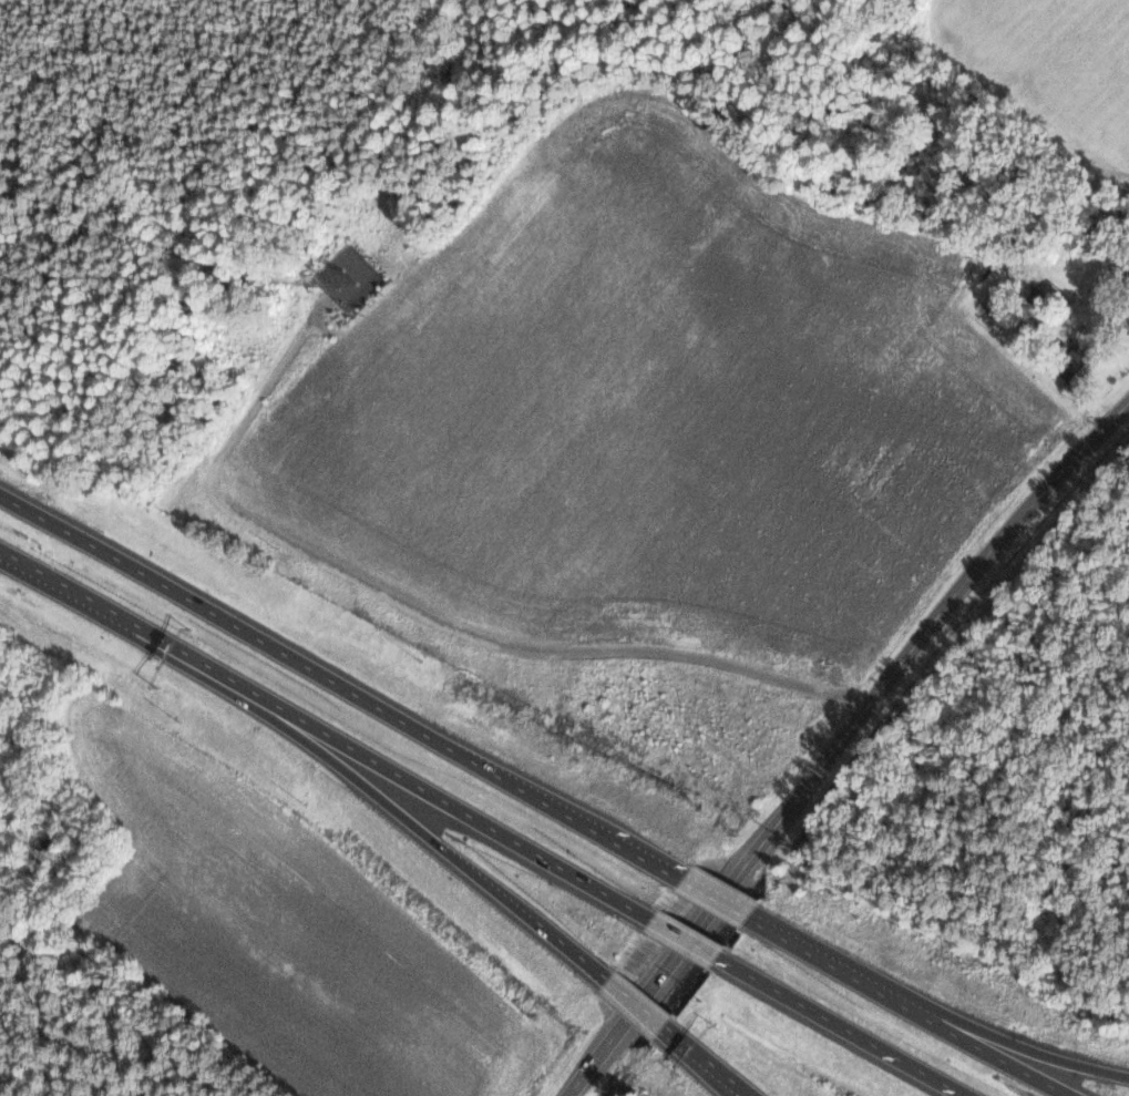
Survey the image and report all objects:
building: (1126, 310)
building: (1075, 359)
road: (109, 610)
road: (292, 657)
road: (839, 740)
road: (438, 795)
road: (415, 824)
road: (637, 851)
road: (720, 898)
road: (690, 936)
road: (839, 965)
road: (642, 1001)
road: (848, 1025)
road: (1026, 1047)
road: (998, 1054)
road: (708, 1059)
road: (715, 1059)
road: (1075, 1094)

